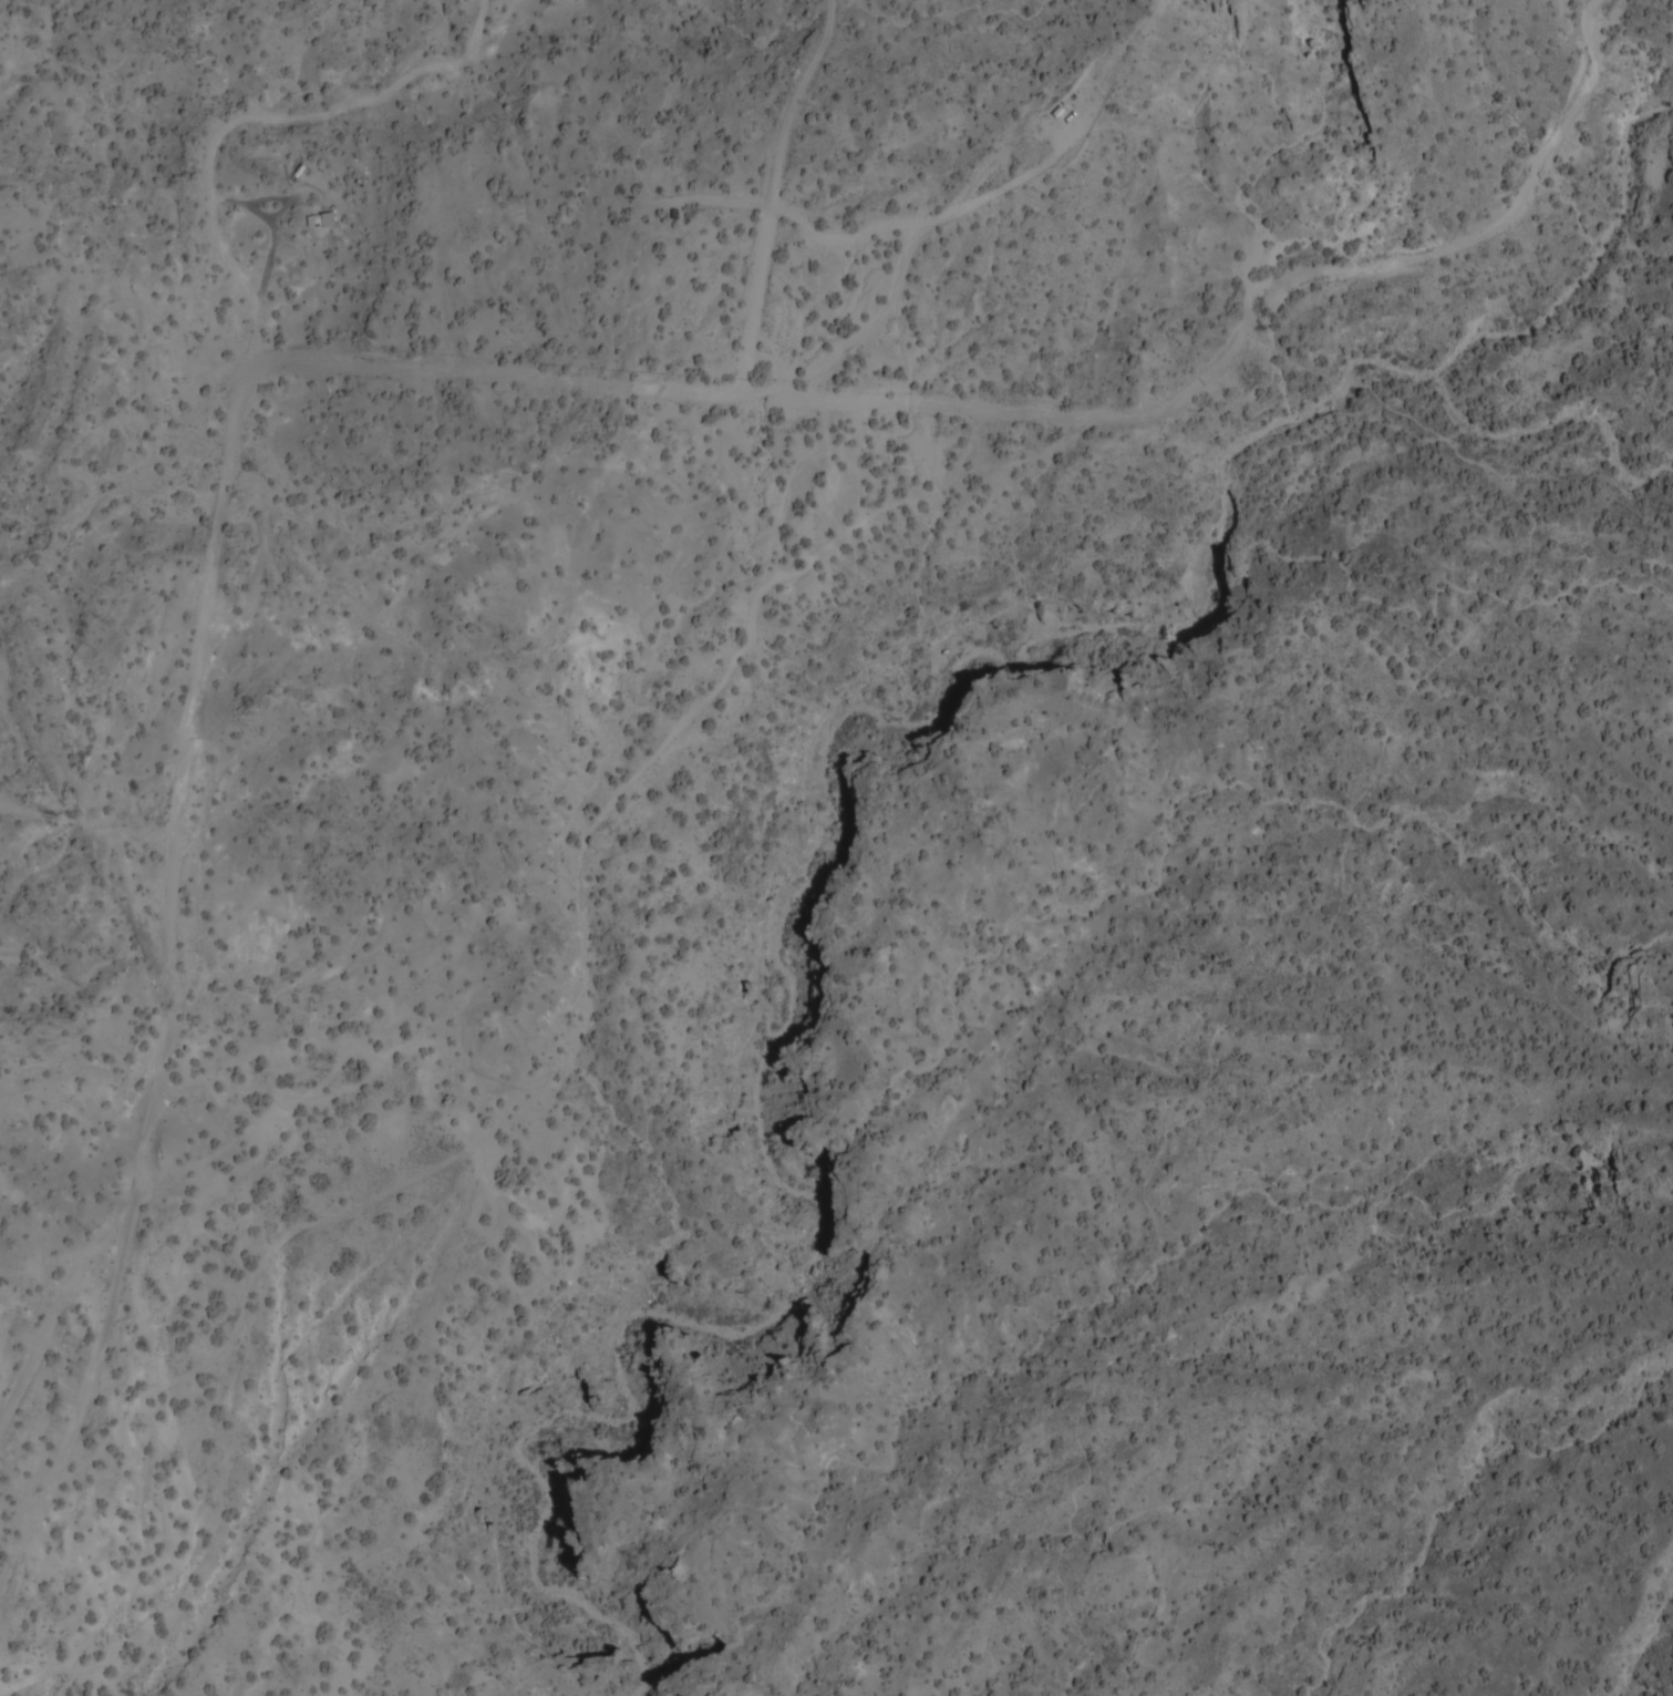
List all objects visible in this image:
road: (479, 371)

